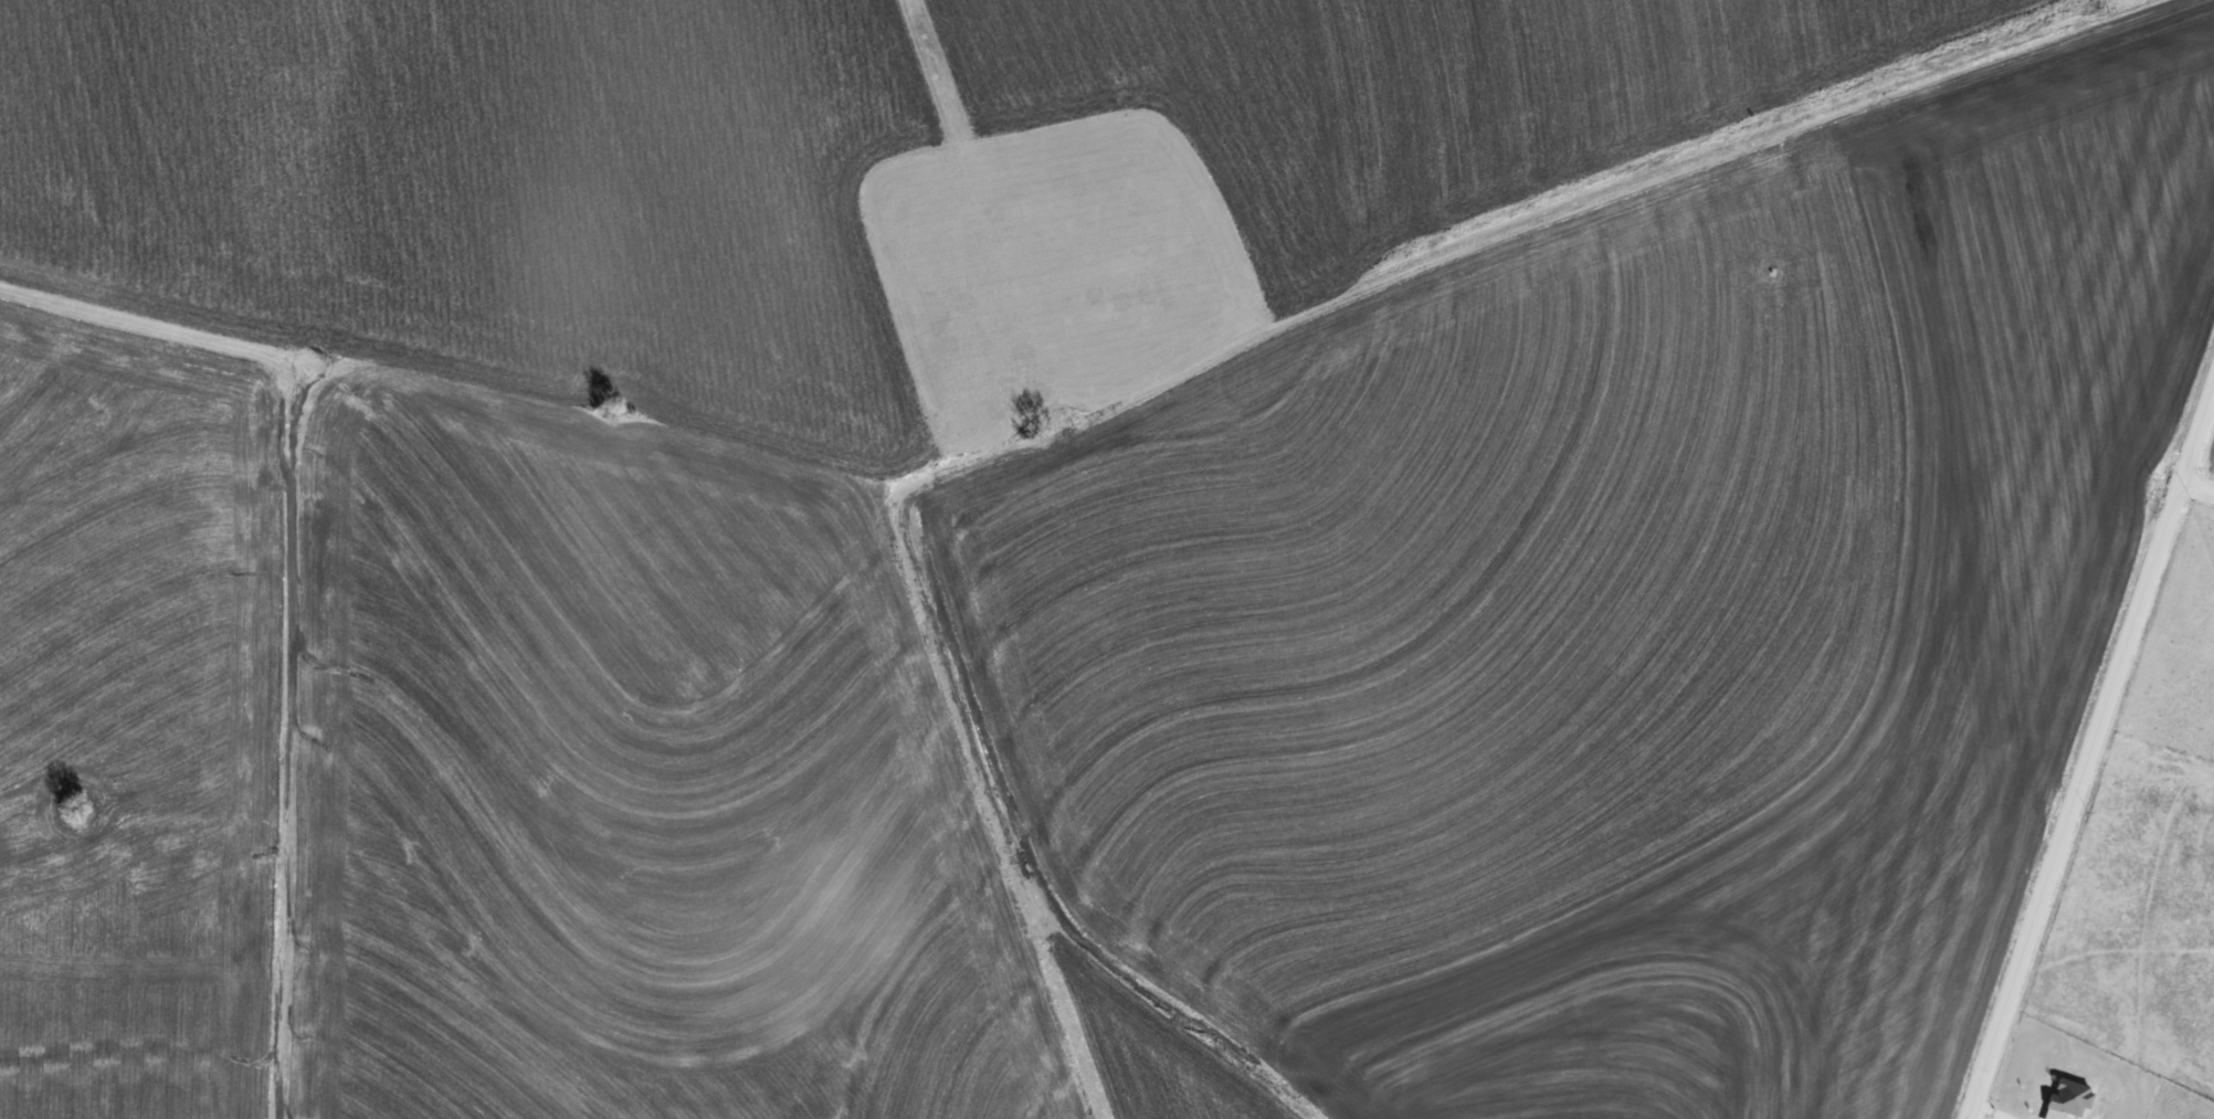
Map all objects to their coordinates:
road: (2197, 487)
road: (2090, 752)
building: (2068, 1099)

